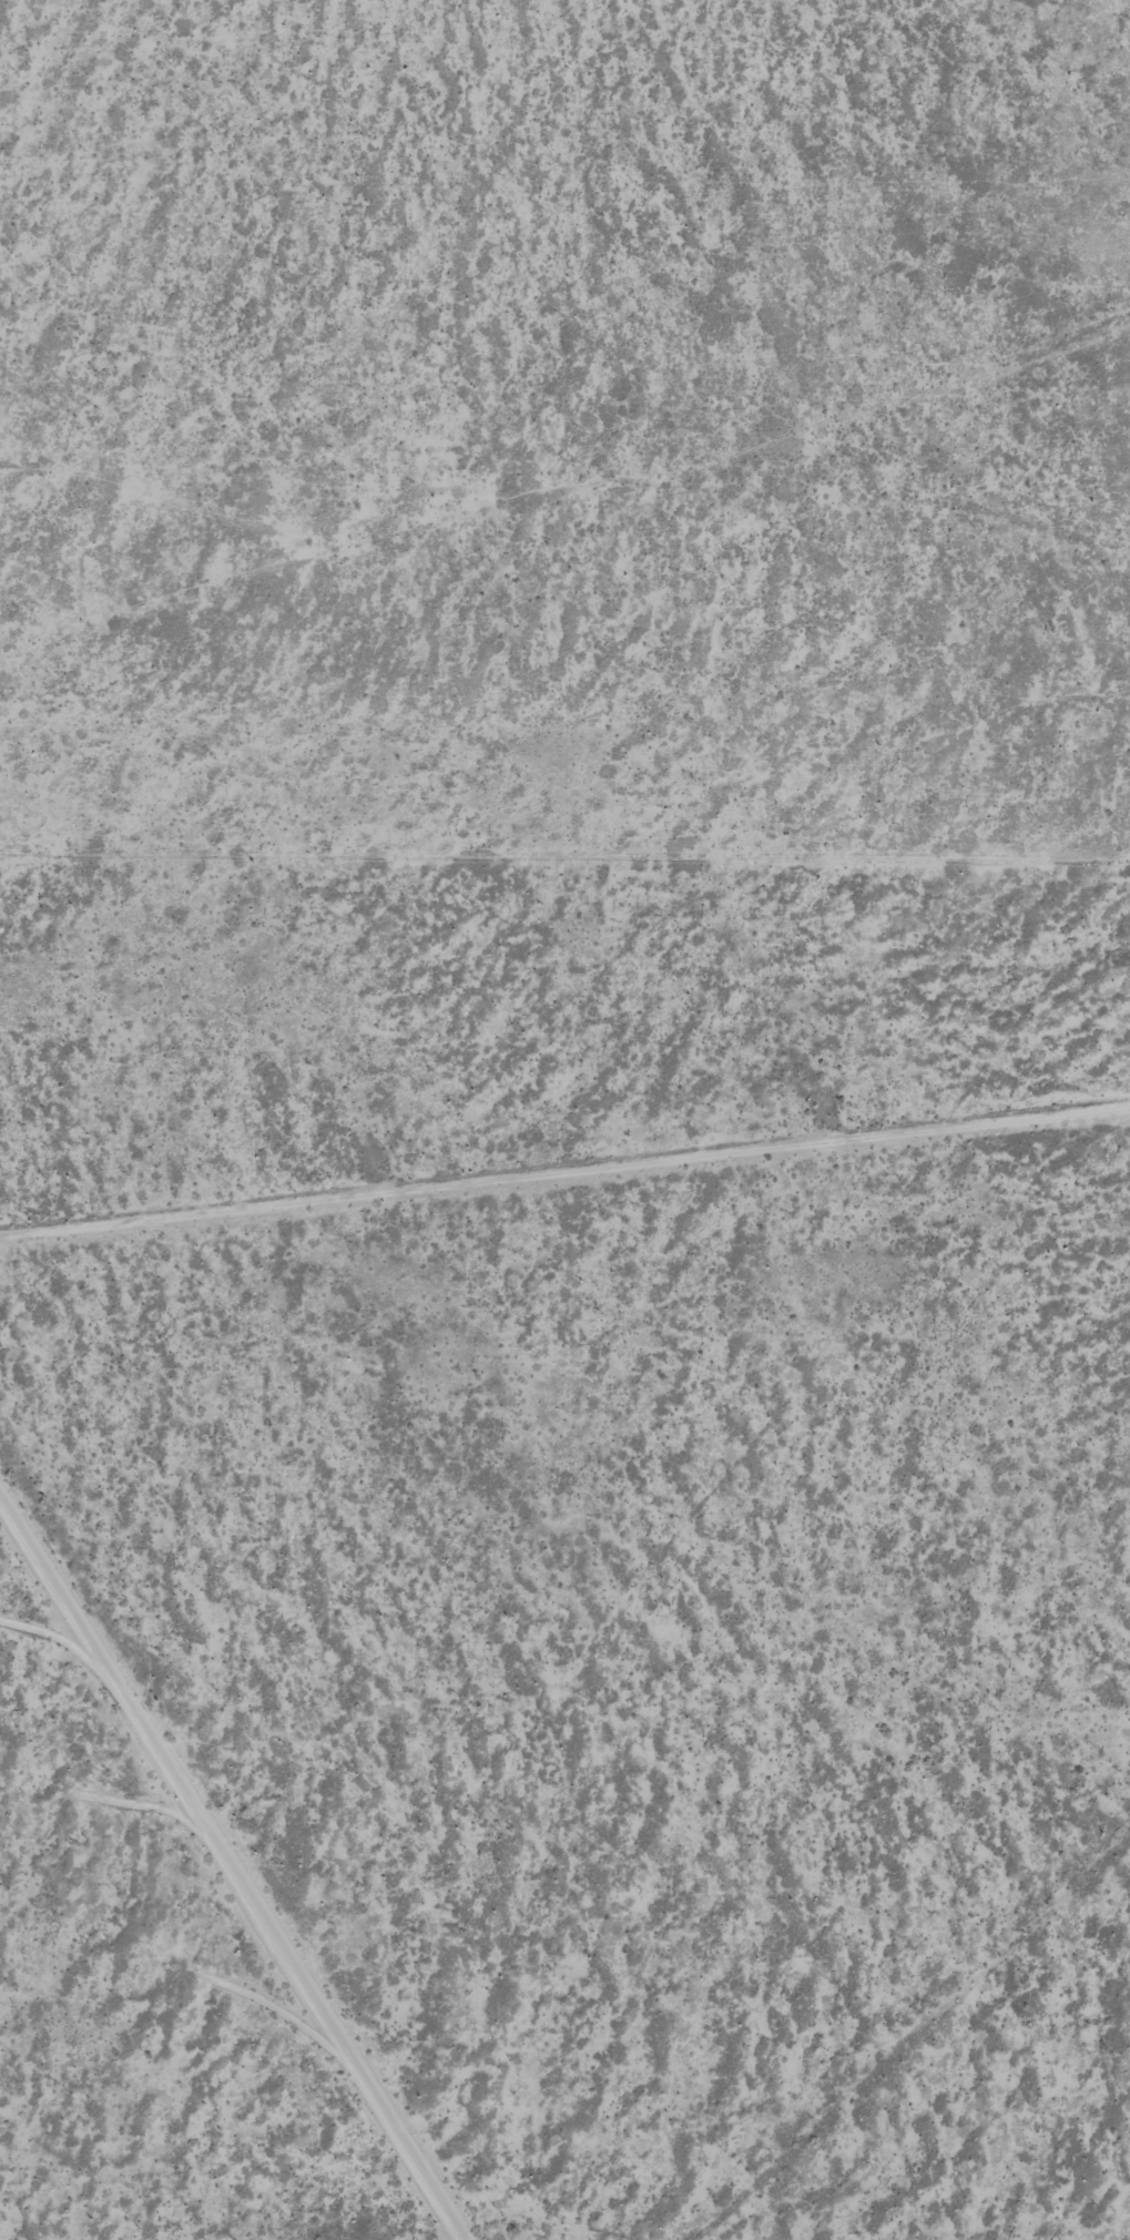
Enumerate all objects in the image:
road: (226, 1878)

